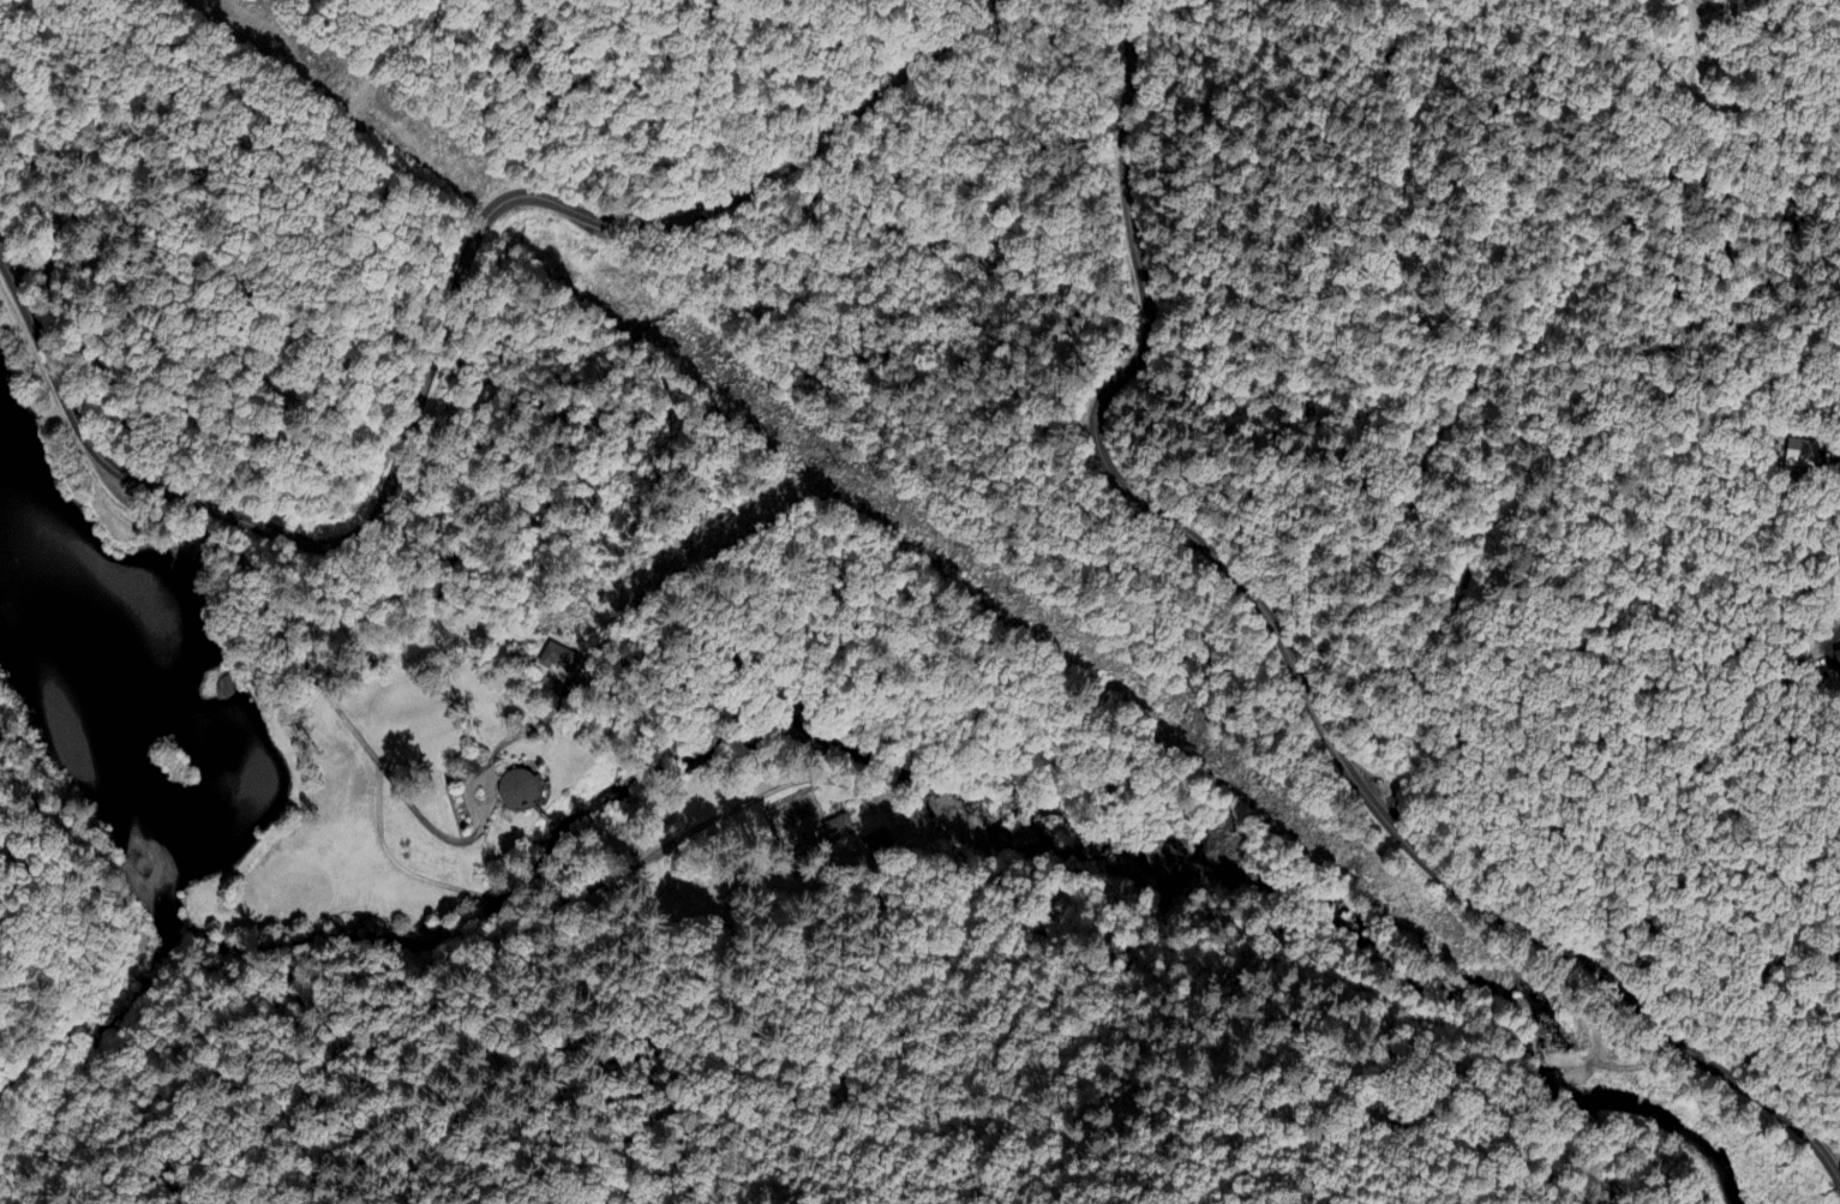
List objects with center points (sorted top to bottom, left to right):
road: (1721, 107)
road: (439, 336)
building: (1776, 448)
building: (1803, 453)
building: (1838, 653)
building: (557, 659)
road: (1293, 665)
building: (516, 790)
building: (838, 829)
building: (874, 843)

